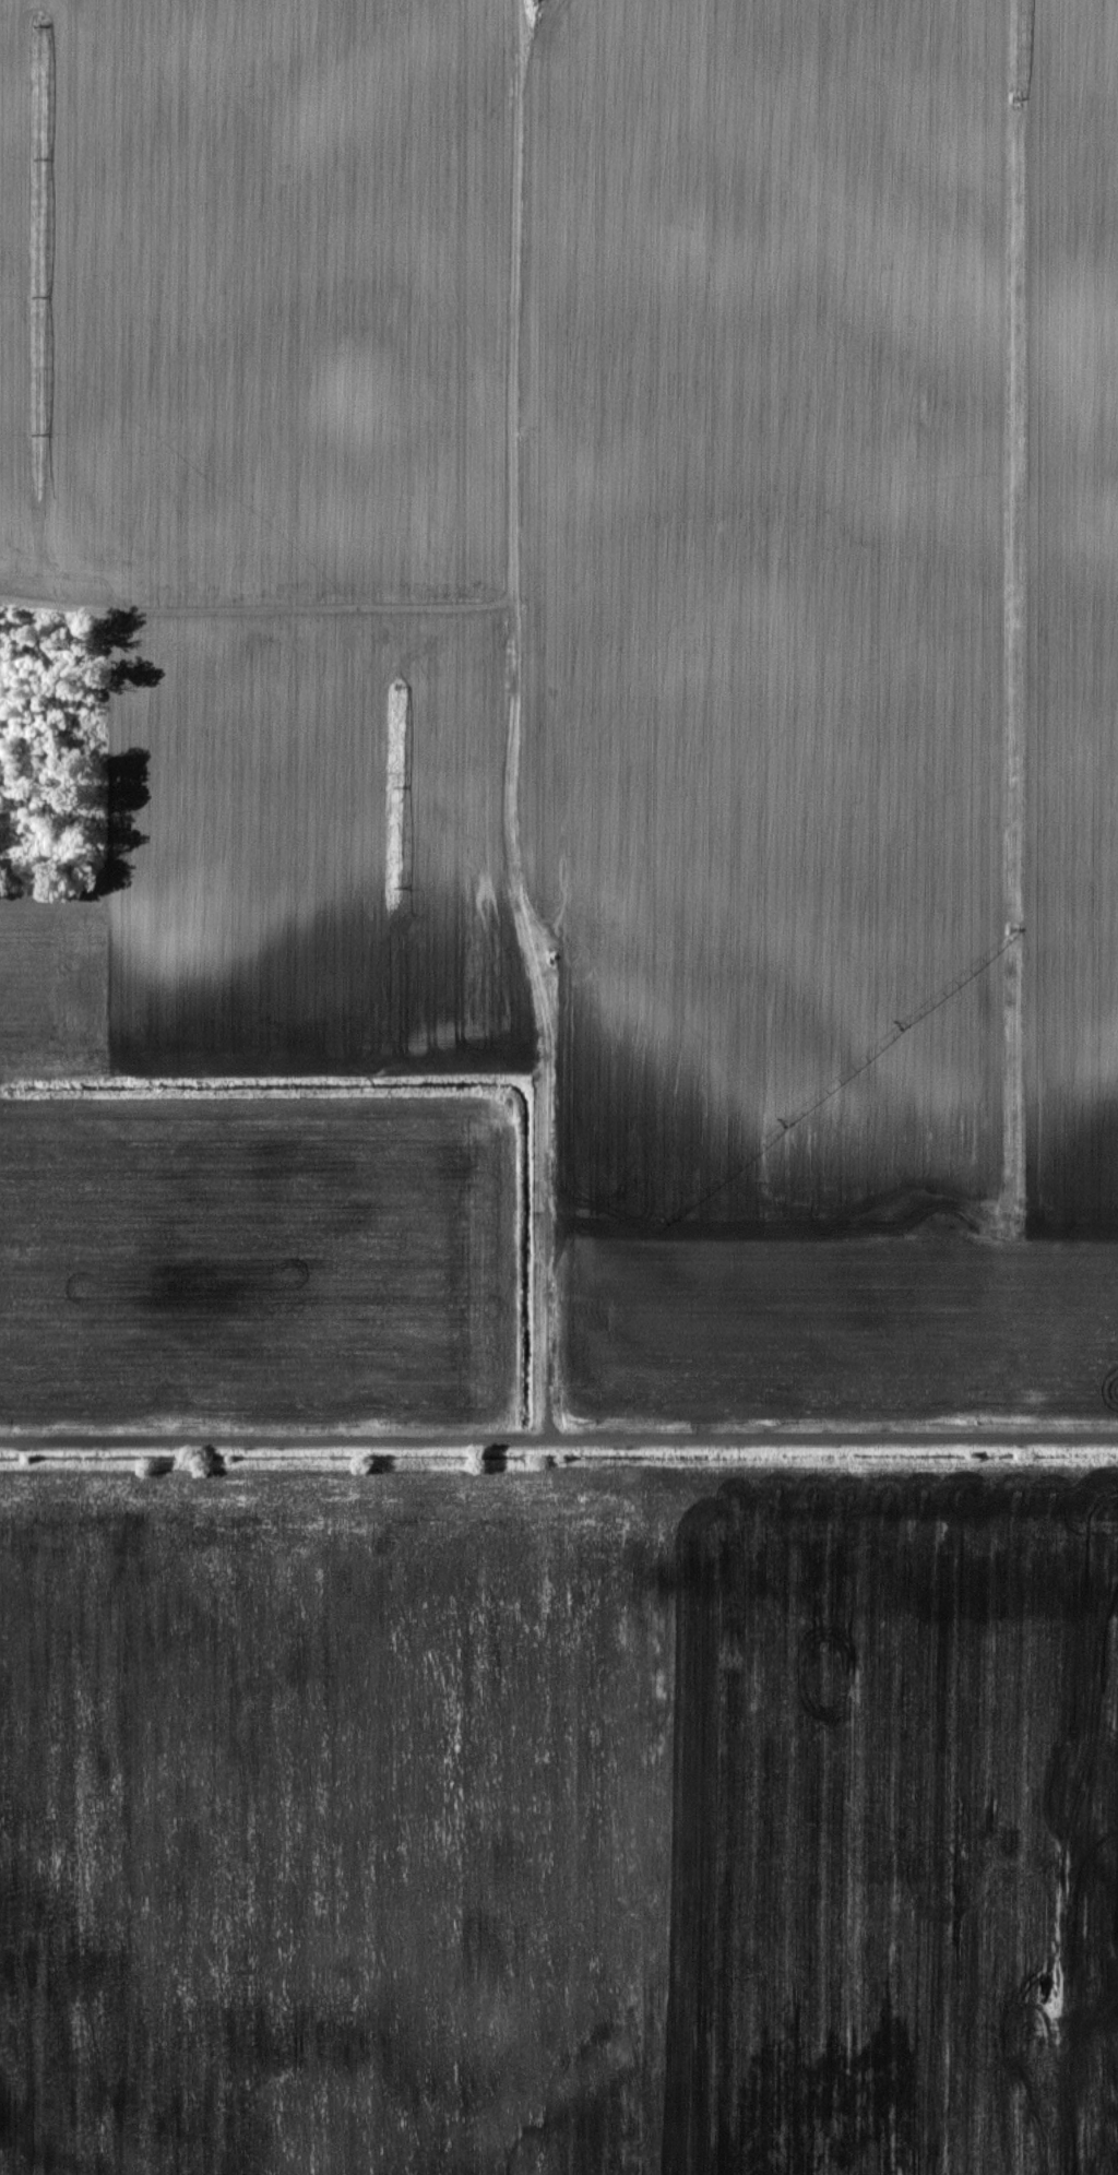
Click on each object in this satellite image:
road: (558, 1437)

